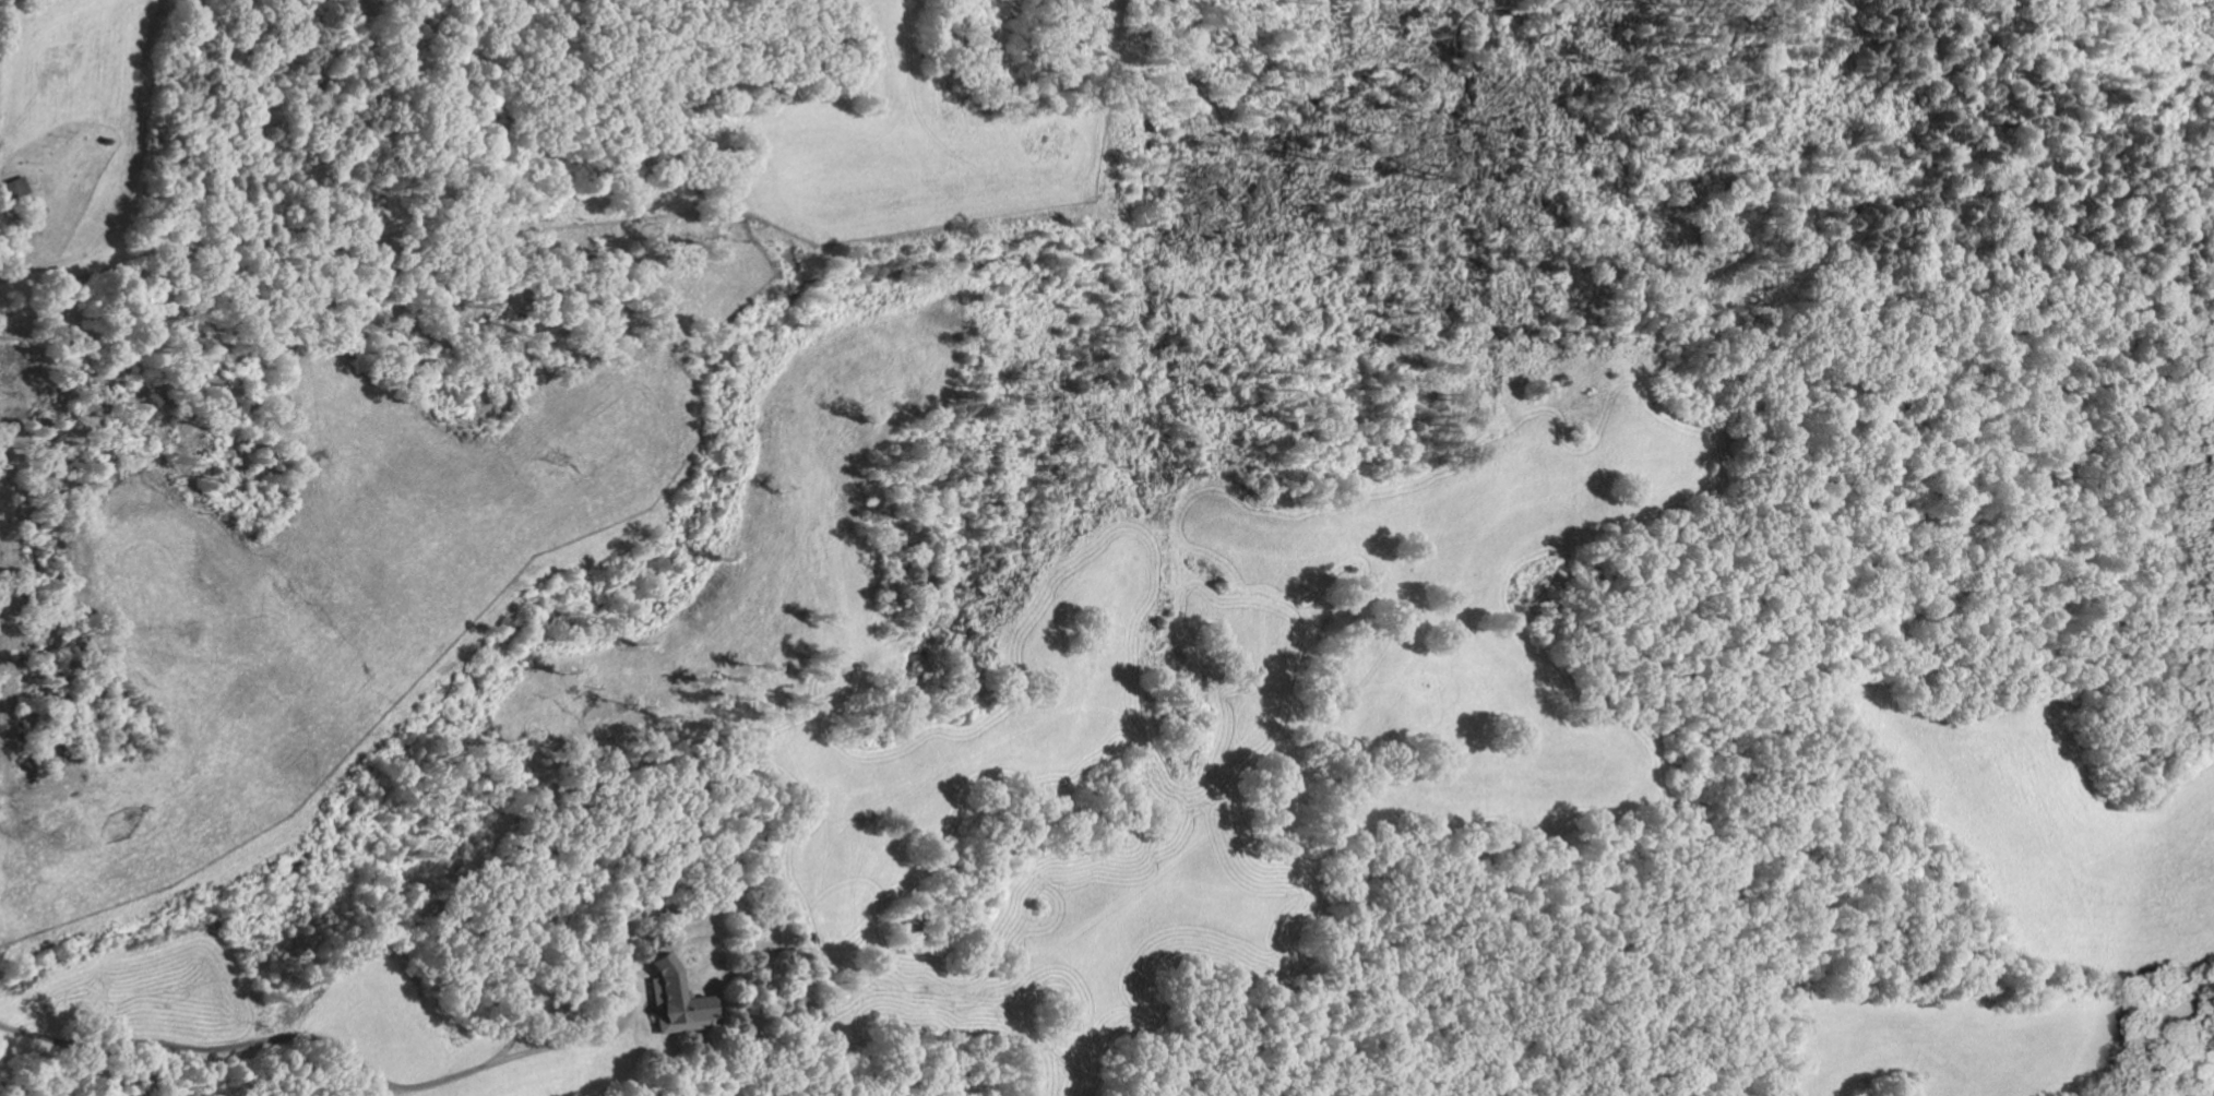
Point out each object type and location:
road: (1, 116)
building: (17, 190)
road: (614, 1018)
road: (255, 1040)

